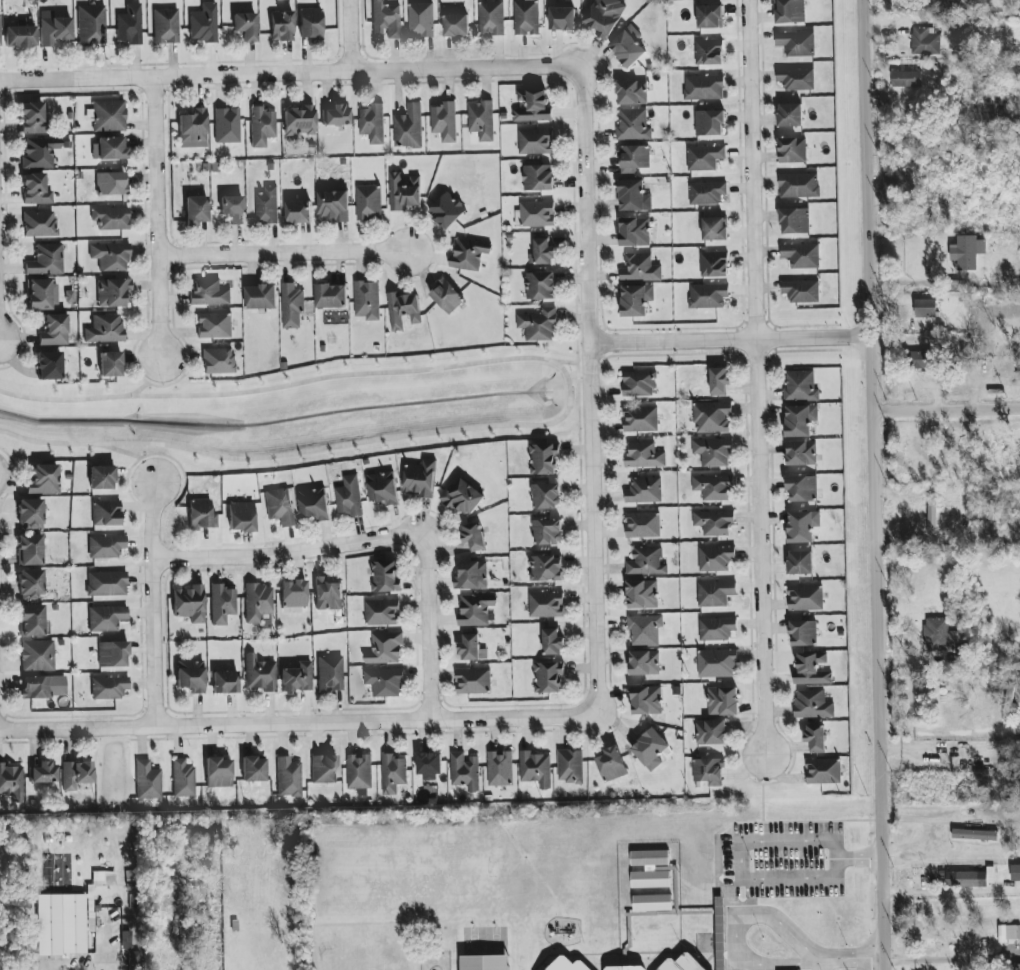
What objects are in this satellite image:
building: (790, 11)
building: (605, 16)
building: (526, 17)
building: (710, 17)
building: (491, 18)
building: (386, 19)
building: (562, 19)
building: (421, 20)
building: (204, 23)
building: (310, 23)
building: (91, 25)
building: (130, 25)
building: (457, 25)
building: (166, 26)
building: (245, 26)
building: (282, 26)
building: (53, 29)
building: (0, 33)
building: (20, 36)
road: (349, 36)
building: (926, 42)
building: (797, 43)
building: (628, 46)
building: (710, 52)
road: (287, 73)
building: (796, 79)
building: (906, 79)
building: (704, 88)
building: (632, 93)
building: (533, 107)
building: (790, 115)
building: (109, 116)
building: (336, 116)
building: (32, 118)
building: (300, 120)
building: (481, 120)
building: (445, 122)
building: (372, 123)
building: (710, 123)
building: (633, 125)
building: (227, 126)
building: (262, 126)
building: (409, 127)
building: (193, 129)
building: (536, 141)
building: (109, 149)
building: (792, 150)
building: (40, 152)
building: (634, 158)
building: (705, 158)
building: (538, 178)
building: (111, 183)
building: (799, 185)
building: (36, 190)
building: (405, 192)
building: (707, 193)
building: (634, 196)
building: (369, 203)
building: (267, 206)
building: (334, 206)
building: (232, 209)
building: (196, 210)
building: (447, 210)
building: (298, 212)
building: (537, 214)
road: (160, 217)
building: (111, 218)
building: (795, 221)
building: (40, 224)
building: (715, 229)
building: (635, 232)
building: (542, 253)
building: (967, 253)
road: (285, 254)
building: (469, 255)
building: (801, 255)
building: (111, 256)
building: (46, 260)
building: (714, 264)
building: (640, 268)
road: (948, 283)
building: (540, 286)
building: (801, 291)
building: (113, 292)
building: (209, 293)
building: (42, 294)
building: (331, 296)
building: (447, 296)
building: (708, 296)
building: (261, 297)
building: (367, 300)
building: (636, 300)
building: (292, 307)
building: (926, 308)
building: (403, 311)
building: (214, 325)
building: (539, 325)
building: (105, 329)
building: (54, 330)
road: (733, 343)
building: (922, 360)
building: (219, 361)
road: (573, 363)
building: (110, 364)
building: (49, 366)
road: (757, 377)
road: (150, 380)
building: (720, 381)
building: (639, 384)
building: (801, 386)
road: (590, 392)
road: (569, 394)
road: (949, 409)
building: (712, 417)
building: (640, 419)
building: (800, 420)
building: (713, 452)
building: (801, 453)
building: (644, 456)
road: (134, 457)
building: (544, 459)
building: (101, 477)
building: (421, 478)
building: (43, 480)
road: (879, 484)
building: (713, 487)
building: (383, 488)
building: (802, 488)
building: (644, 490)
building: (546, 496)
building: (349, 497)
building: (463, 497)
building: (314, 504)
building: (279, 506)
road: (909, 510)
building: (106, 513)
building: (30, 514)
building: (201, 514)
building: (932, 516)
building: (241, 517)
building: (714, 522)
building: (643, 525)
building: (802, 526)
building: (548, 532)
building: (474, 536)
road: (949, 540)
building: (105, 546)
building: (29, 550)
road: (288, 555)
building: (716, 558)
building: (646, 562)
building: (800, 563)
building: (546, 568)
building: (385, 576)
building: (472, 576)
building: (106, 583)
building: (30, 584)
building: (715, 593)
building: (328, 594)
building: (642, 594)
building: (294, 597)
building: (805, 598)
building: (258, 602)
building: (189, 603)
road: (156, 604)
building: (222, 604)
building: (546, 605)
building: (476, 609)
building: (383, 613)
building: (106, 618)
building: (31, 620)
road: (428, 627)
building: (717, 629)
building: (645, 630)
building: (803, 633)
building: (939, 635)
building: (553, 642)
building: (385, 648)
building: (472, 648)
building: (113, 654)
building: (37, 655)
building: (645, 663)
building: (717, 664)
building: (811, 669)
building: (259, 674)
building: (191, 676)
building: (548, 677)
building: (297, 678)
building: (473, 681)
building: (225, 682)
building: (385, 682)
building: (36, 688)
building: (109, 688)
building: (647, 700)
building: (723, 701)
building: (813, 705)
road: (296, 722)
building: (711, 732)
road: (945, 733)
building: (816, 738)
building: (650, 750)
building: (612, 764)
building: (429, 766)
building: (570, 766)
building: (254, 769)
building: (324, 769)
building: (500, 769)
building: (535, 769)
building: (359, 771)
building: (465, 771)
building: (709, 771)
building: (823, 771)
building: (218, 772)
building: (44, 773)
building: (393, 773)
building: (76, 775)
building: (289, 777)
building: (183, 778)
building: (11, 781)
building: (147, 781)
building: (974, 835)
road: (744, 839)
building: (651, 869)
building: (1015, 873)
building: (104, 878)
building: (972, 878)
road: (950, 892)
building: (653, 903)
building: (62, 923)
road: (735, 927)
building: (1008, 933)
building: (126, 940)
building: (972, 943)
road: (939, 958)
road: (849, 959)
building: (486, 963)
building: (681, 963)
building: (566, 964)
road: (818, 964)
building: (623, 967)
building: (1018, 969)

